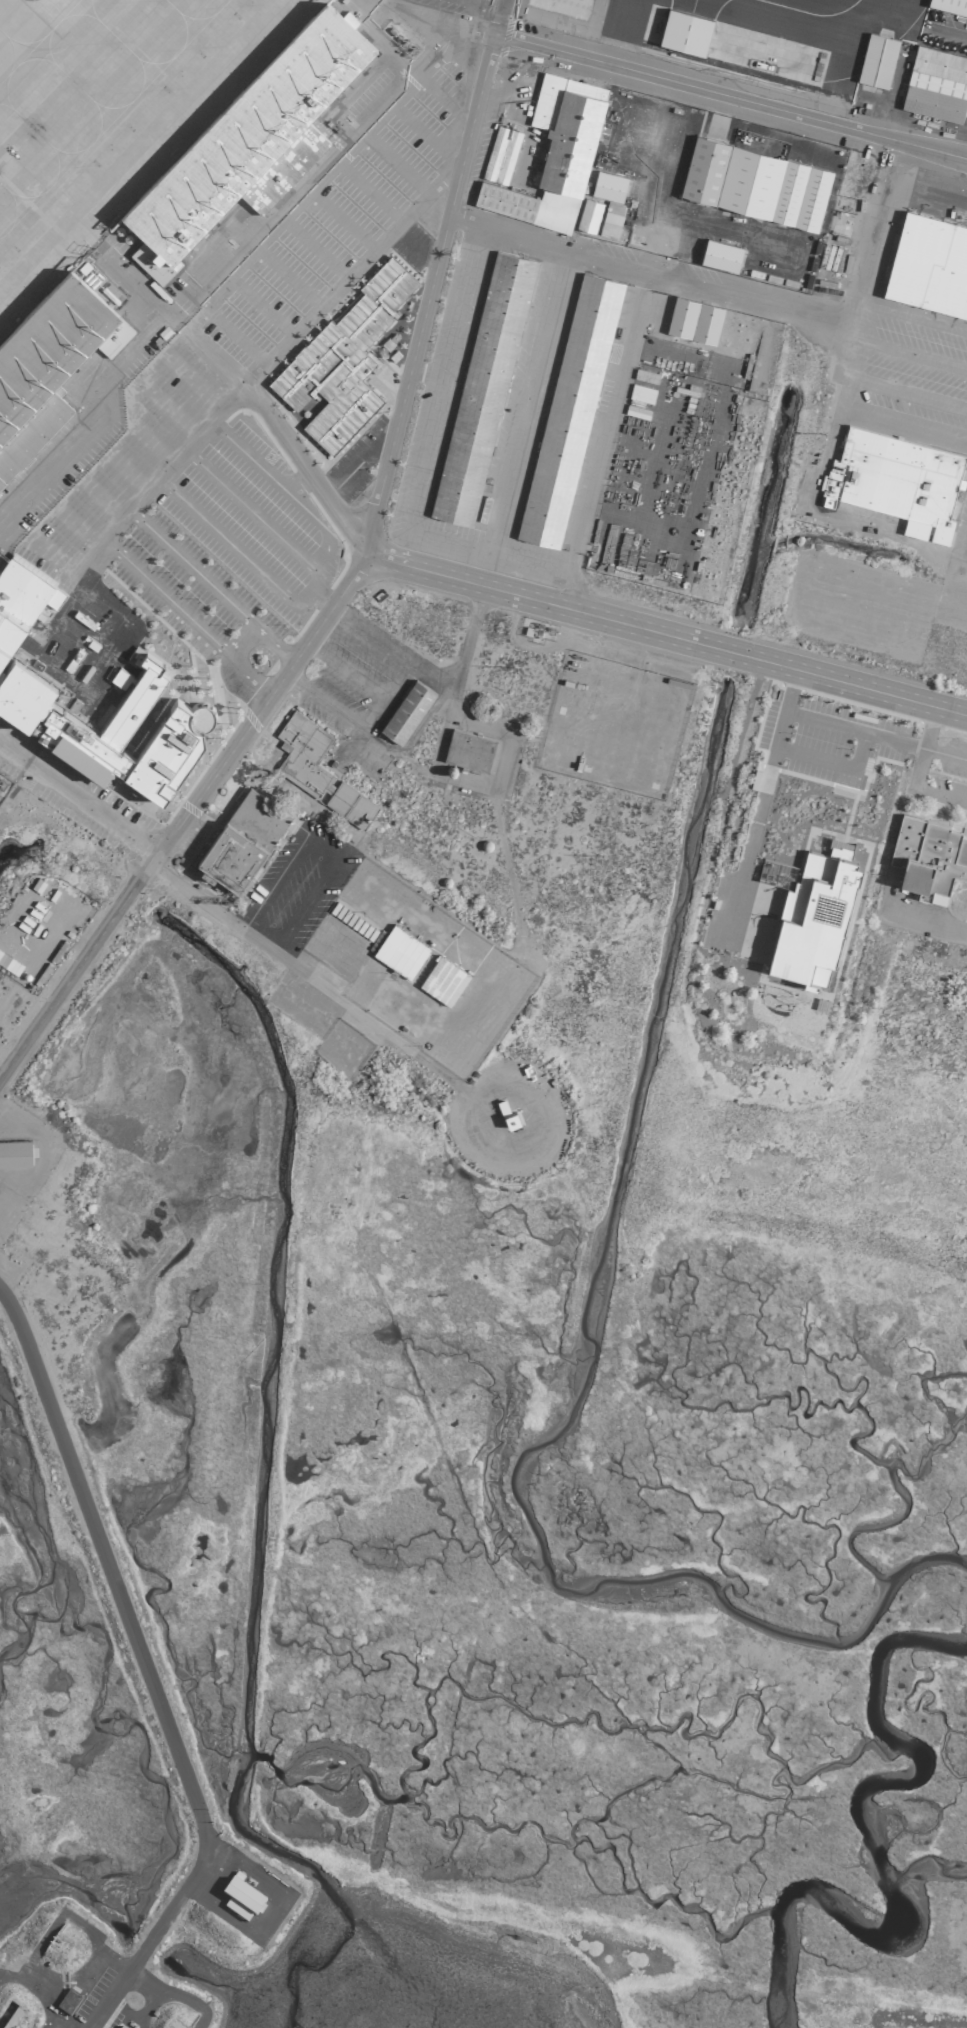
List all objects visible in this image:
building: (949, 6)
airport apron: (812, 19)
airport hangar: (683, 32)
building: (683, 32)
building: (877, 60)
building: (936, 84)
road: (729, 96)
road: (444, 98)
airport apron: (111, 117)
road: (425, 135)
airport hangar: (250, 144)
building: (250, 144)
building: (500, 154)
building: (553, 155)
road: (396, 163)
building: (350, 167)
building: (754, 183)
building: (607, 185)
road: (370, 191)
building: (588, 215)
building: (610, 219)
road: (342, 221)
road: (270, 232)
road: (413, 247)
road: (316, 249)
building: (719, 254)
building: (929, 264)
road: (651, 274)
road: (288, 279)
road: (345, 283)
road: (430, 283)
road: (263, 307)
road: (915, 316)
building: (693, 320)
road: (235, 336)
road: (855, 336)
road: (909, 355)
building: (342, 359)
road: (212, 362)
airport hangar: (44, 367)
building: (44, 367)
road: (193, 382)
building: (482, 388)
road: (906, 392)
road: (437, 395)
road: (168, 408)
building: (568, 410)
road: (522, 418)
road: (187, 451)
road: (261, 469)
road: (312, 478)
building: (895, 480)
road: (116, 524)
road: (321, 528)
road: (269, 529)
road: (234, 549)
road: (966, 556)
road: (961, 584)
building: (21, 597)
road: (669, 634)
road: (242, 646)
road: (344, 671)
road: (426, 675)
building: (406, 711)
road: (352, 724)
building: (112, 727)
road: (779, 729)
road: (854, 729)
building: (468, 749)
road: (829, 765)
building: (318, 769)
road: (916, 772)
road: (17, 788)
road: (78, 797)
road: (181, 817)
road: (749, 835)
building: (242, 839)
road: (320, 848)
building: (928, 857)
building: (808, 914)
building: (399, 951)
road: (309, 980)
building: (442, 980)
airport: (483, 1014)
building: (14, 1152)
road: (145, 1670)
building: (239, 1897)
road: (173, 1995)
road: (36, 1997)
building: (67, 2000)
road: (48, 2025)

